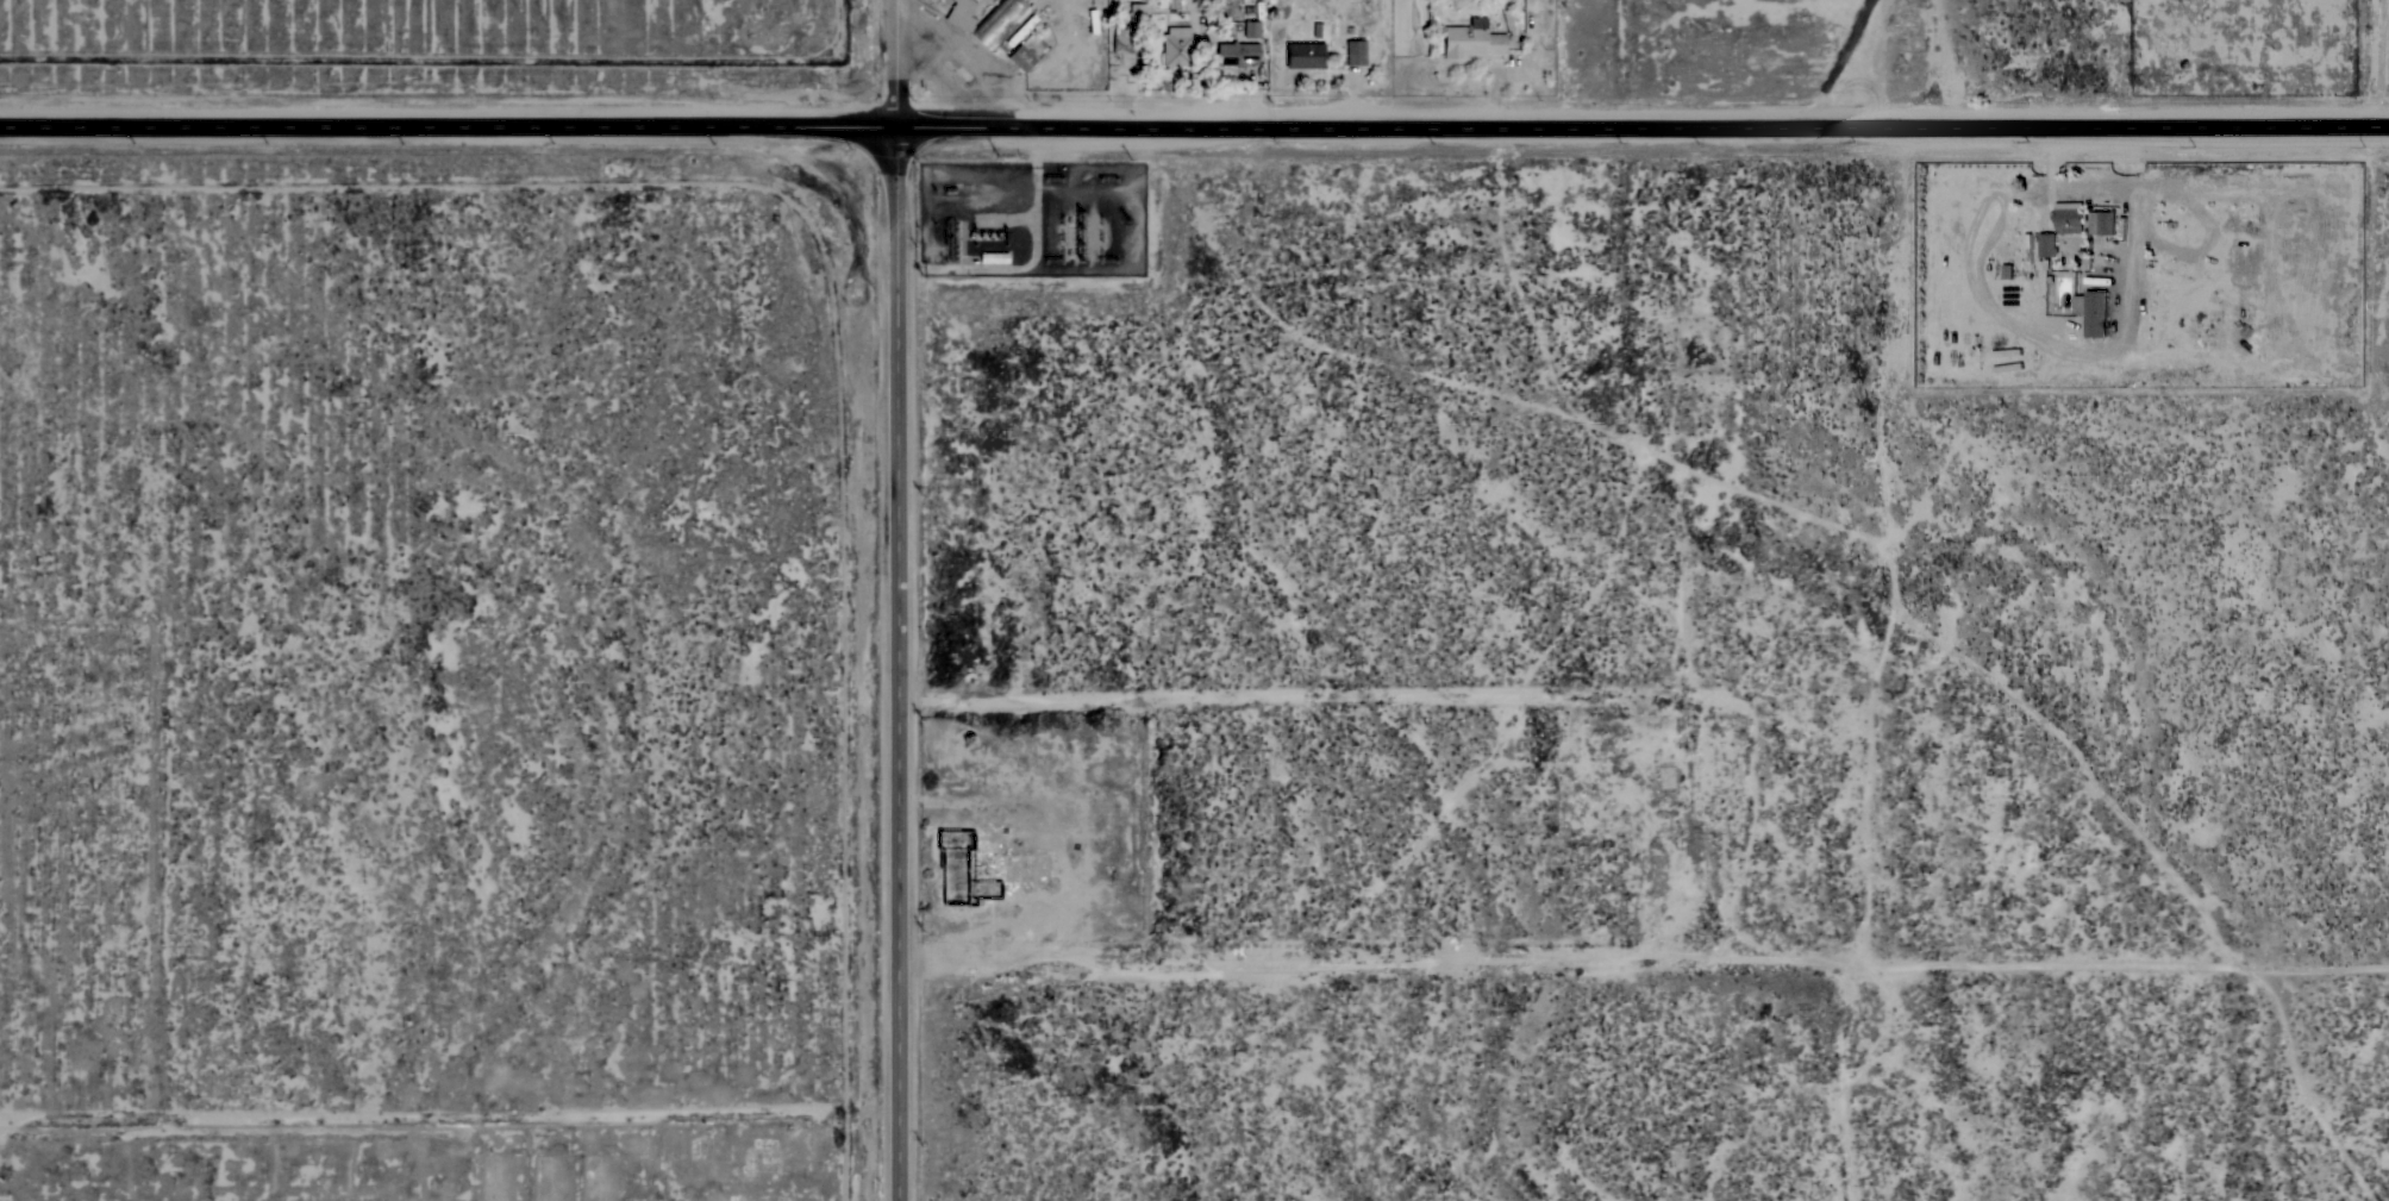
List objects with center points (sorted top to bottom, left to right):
building: (1172, 4)
building: (1139, 12)
building: (961, 14)
building: (999, 24)
building: (1251, 29)
building: (1127, 39)
building: (1471, 39)
building: (1176, 46)
building: (1355, 52)
building: (1237, 54)
building: (1305, 55)
building: (1021, 58)
road: (1841, 61)
road: (1939, 62)
road: (890, 64)
road: (446, 124)
road: (1641, 125)
road: (2084, 190)
building: (2069, 217)
building: (2101, 223)
building: (2046, 245)
building: (2028, 248)
building: (994, 257)
building: (2093, 312)
building: (2006, 351)
building: (2007, 367)
road: (175, 627)
road: (878, 664)
road: (432, 1157)
road: (1201, 1180)

